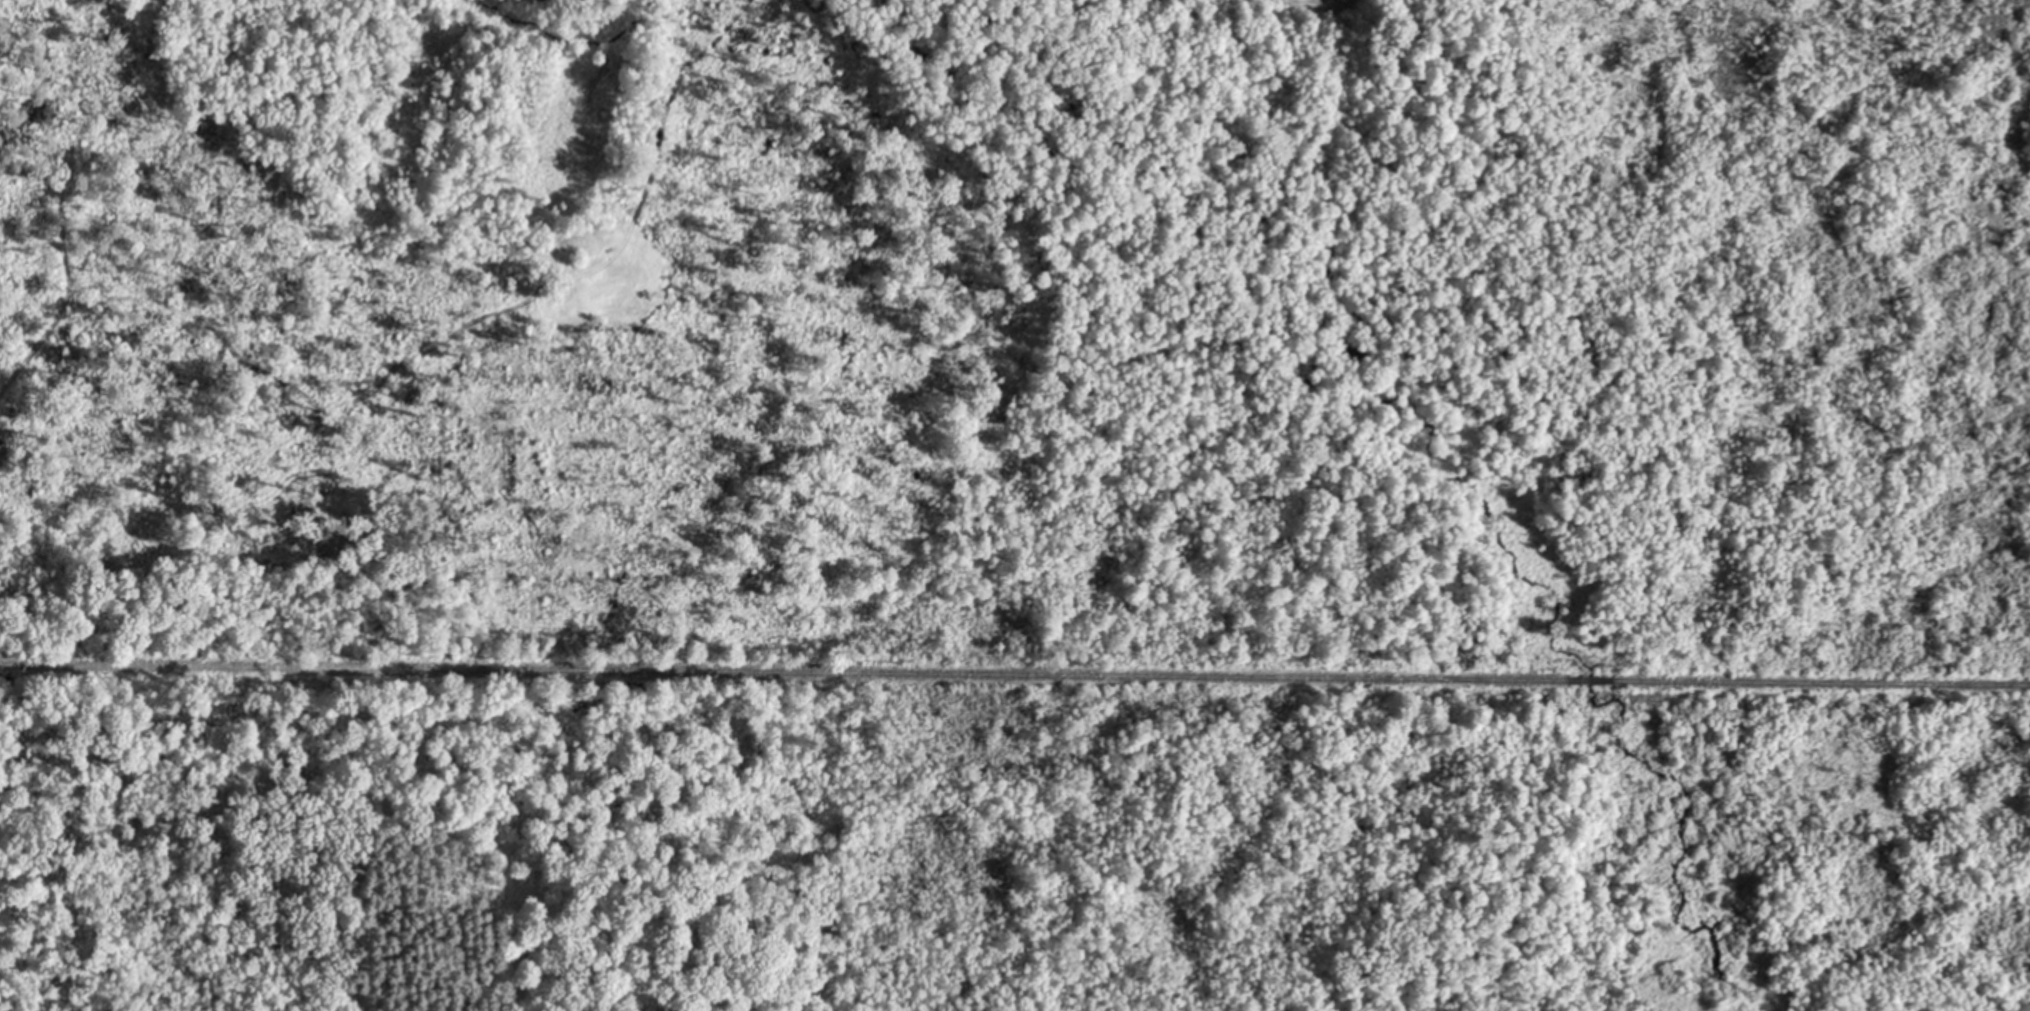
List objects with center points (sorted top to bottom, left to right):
railway: (1014, 673)

